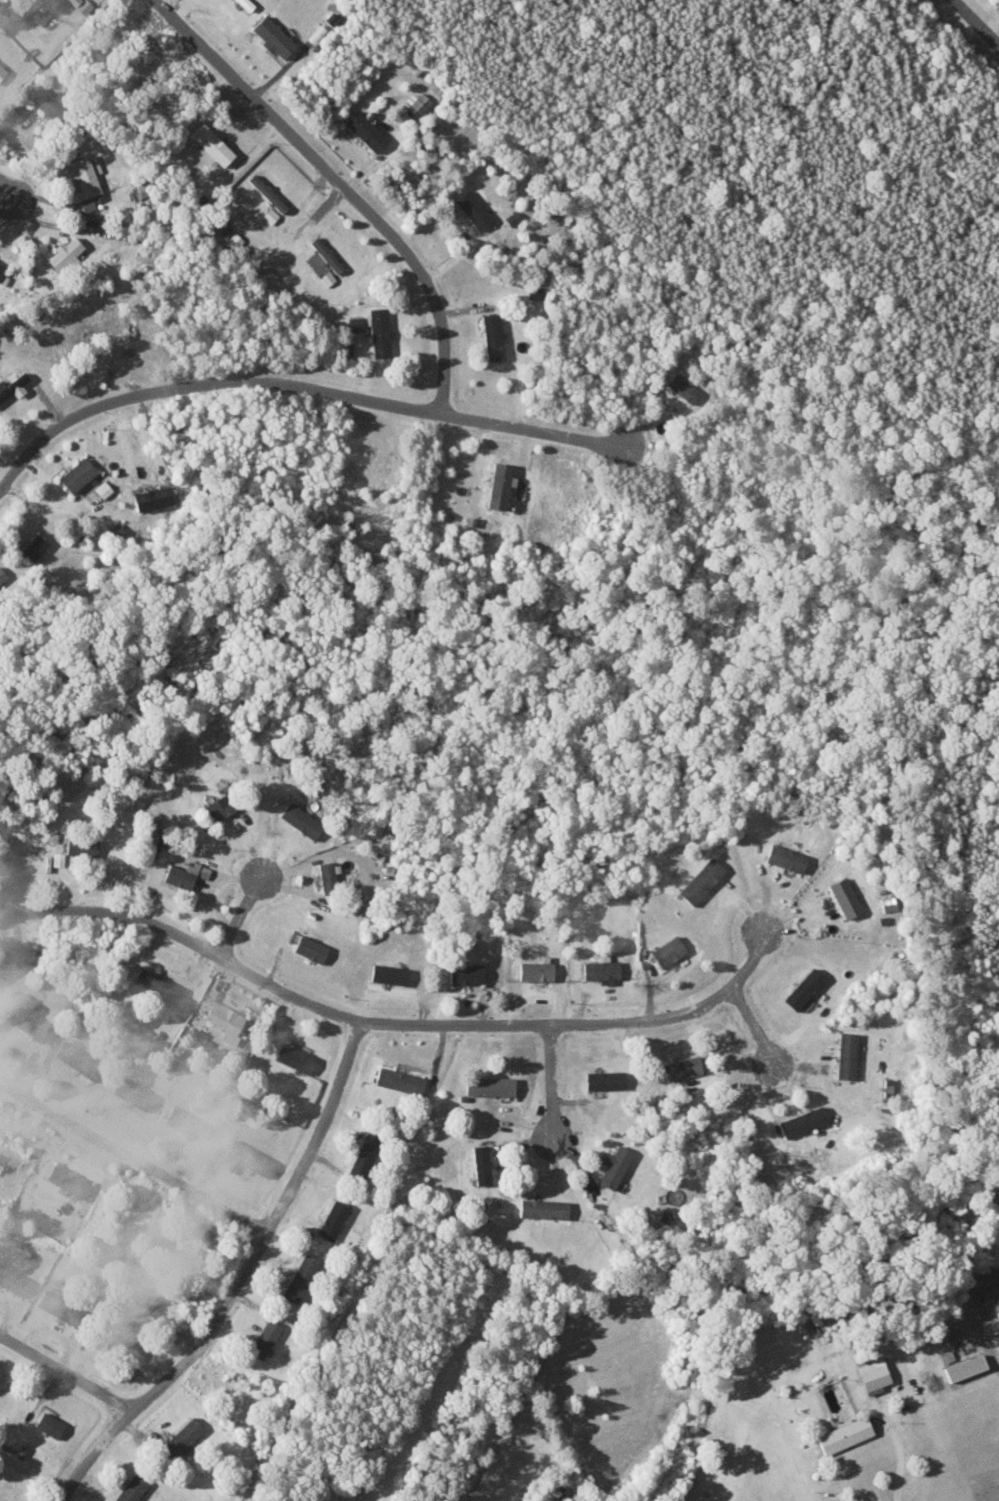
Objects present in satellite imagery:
building: (50, 0)
building: (246, 4)
building: (80, 5)
road: (976, 22)
building: (272, 36)
building: (2, 69)
building: (41, 97)
building: (418, 103)
building: (365, 130)
building: (211, 143)
building: (84, 181)
road: (338, 186)
building: (266, 192)
road: (9, 194)
building: (472, 209)
building: (269, 215)
building: (512, 217)
building: (63, 253)
building: (325, 254)
building: (1, 267)
building: (326, 277)
building: (357, 323)
building: (379, 332)
building: (492, 336)
building: (12, 384)
road: (204, 385)
building: (681, 387)
road: (538, 428)
building: (76, 474)
building: (499, 485)
building: (103, 490)
building: (151, 498)
building: (34, 546)
building: (2, 576)
building: (223, 807)
building: (302, 821)
building: (83, 846)
building: (58, 859)
building: (785, 859)
building: (192, 869)
building: (204, 873)
building: (329, 877)
building: (180, 878)
building: (702, 881)
building: (845, 898)
road: (242, 912)
building: (34, 948)
building: (311, 949)
building: (669, 951)
building: (5, 968)
building: (602, 970)
building: (537, 971)
building: (389, 974)
building: (466, 974)
building: (159, 986)
building: (804, 989)
building: (226, 1017)
road: (390, 1022)
building: (30, 1024)
road: (755, 1025)
building: (200, 1038)
building: (847, 1055)
building: (295, 1059)
building: (80, 1062)
building: (683, 1067)
building: (605, 1080)
building: (402, 1082)
road: (553, 1083)
building: (889, 1083)
building: (491, 1087)
building: (134, 1094)
building: (424, 1114)
building: (804, 1122)
building: (187, 1123)
building: (9, 1154)
road: (133, 1154)
building: (365, 1155)
building: (251, 1158)
building: (481, 1165)
building: (614, 1167)
building: (70, 1182)
building: (545, 1209)
building: (668, 1214)
building: (333, 1220)
road: (238, 1278)
building: (300, 1278)
road: (990, 1278)
building: (14, 1281)
building: (63, 1309)
building: (997, 1311)
building: (265, 1340)
building: (120, 1344)
building: (964, 1366)
road: (65, 1372)
building: (873, 1375)
building: (51, 1426)
building: (845, 1434)
building: (182, 1440)
road: (902, 1467)
building: (133, 1490)

